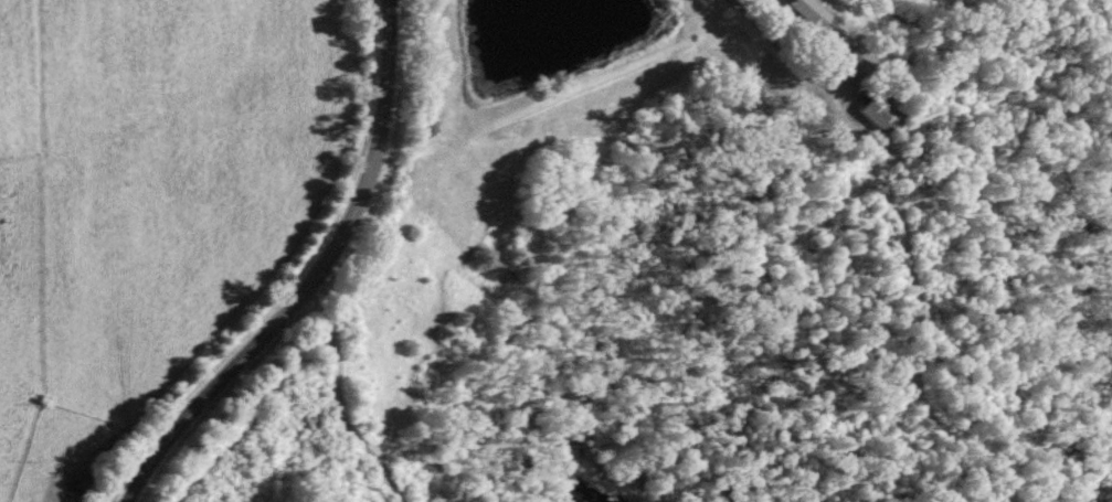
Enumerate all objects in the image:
road: (763, 51)
building: (857, 60)
building: (876, 114)
road: (318, 279)

